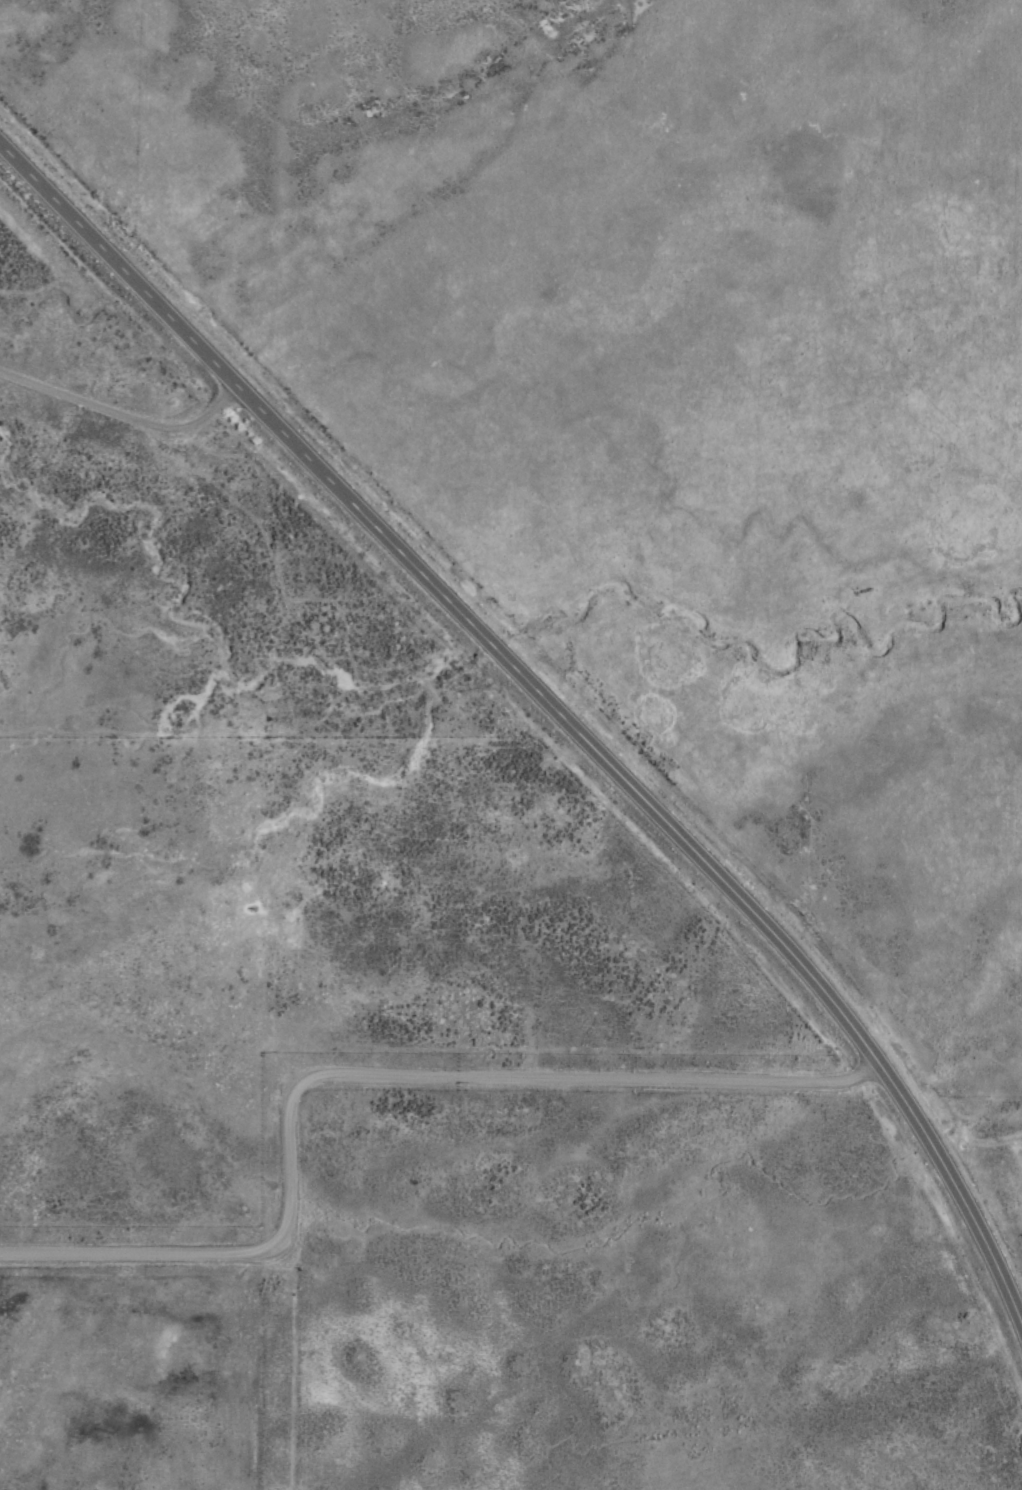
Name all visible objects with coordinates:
road: (552, 742)
crop: (546, 765)
road: (369, 1071)

